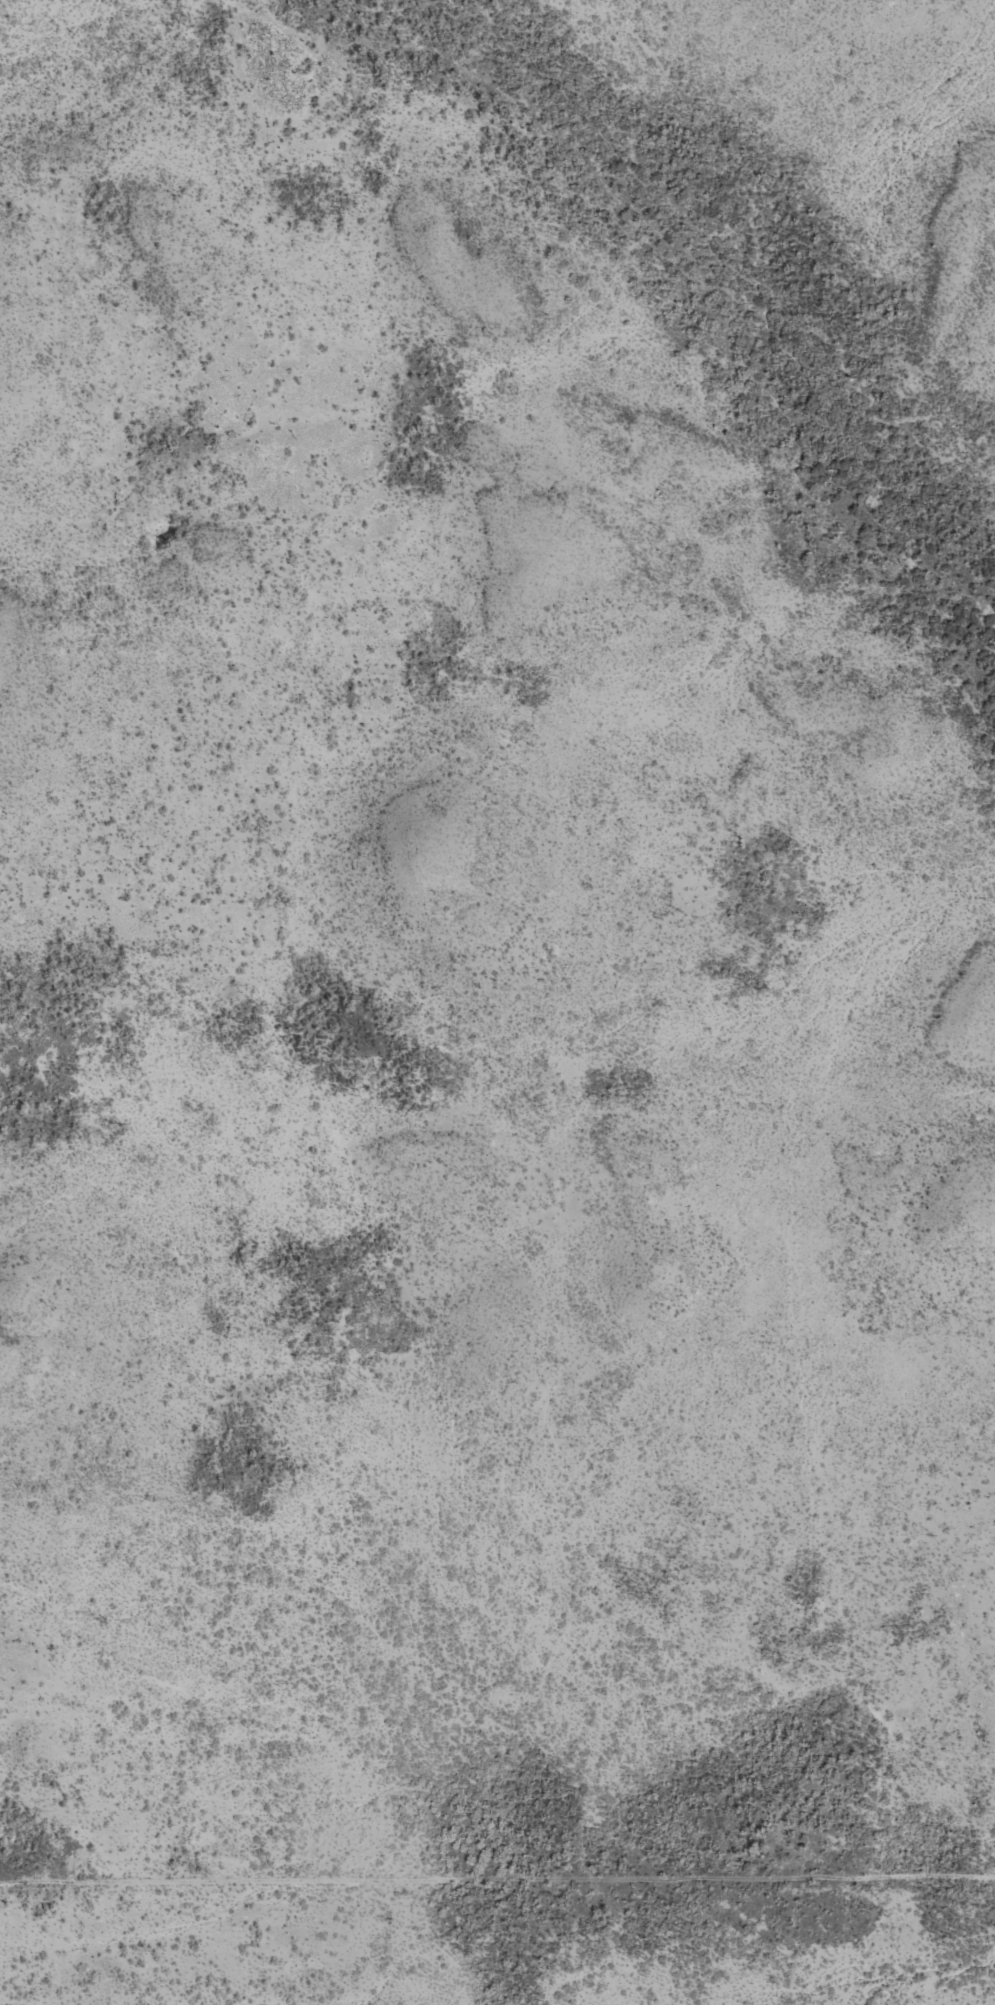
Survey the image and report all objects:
road: (497, 1803)

